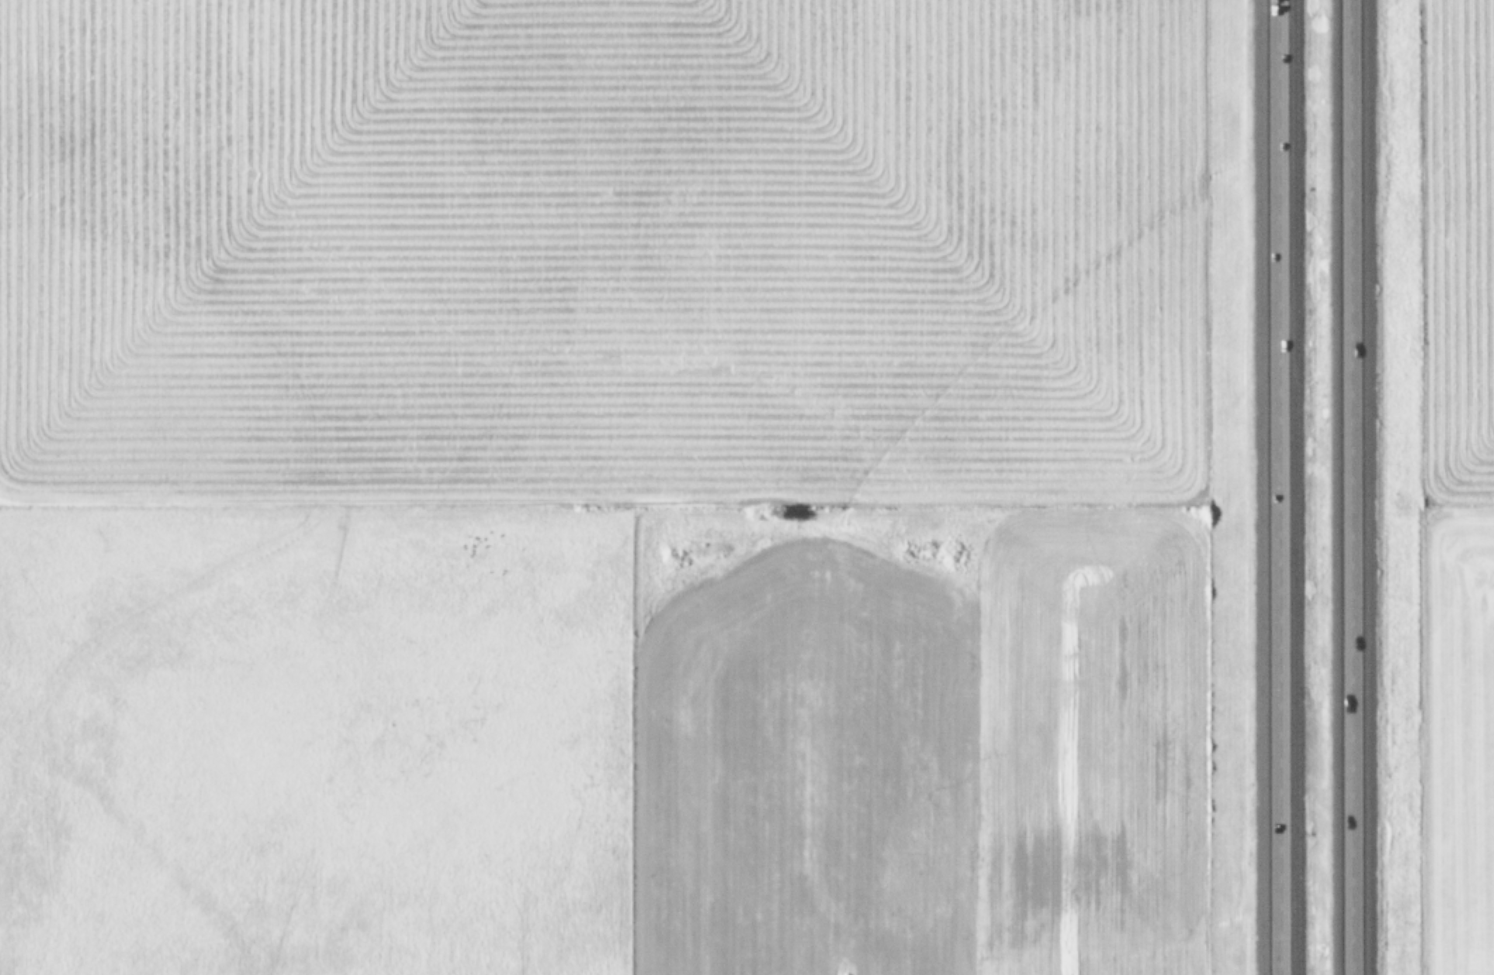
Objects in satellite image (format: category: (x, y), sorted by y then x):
crop: (602, 487)
road: (1278, 487)
road: (1349, 487)
crop: (1451, 487)

